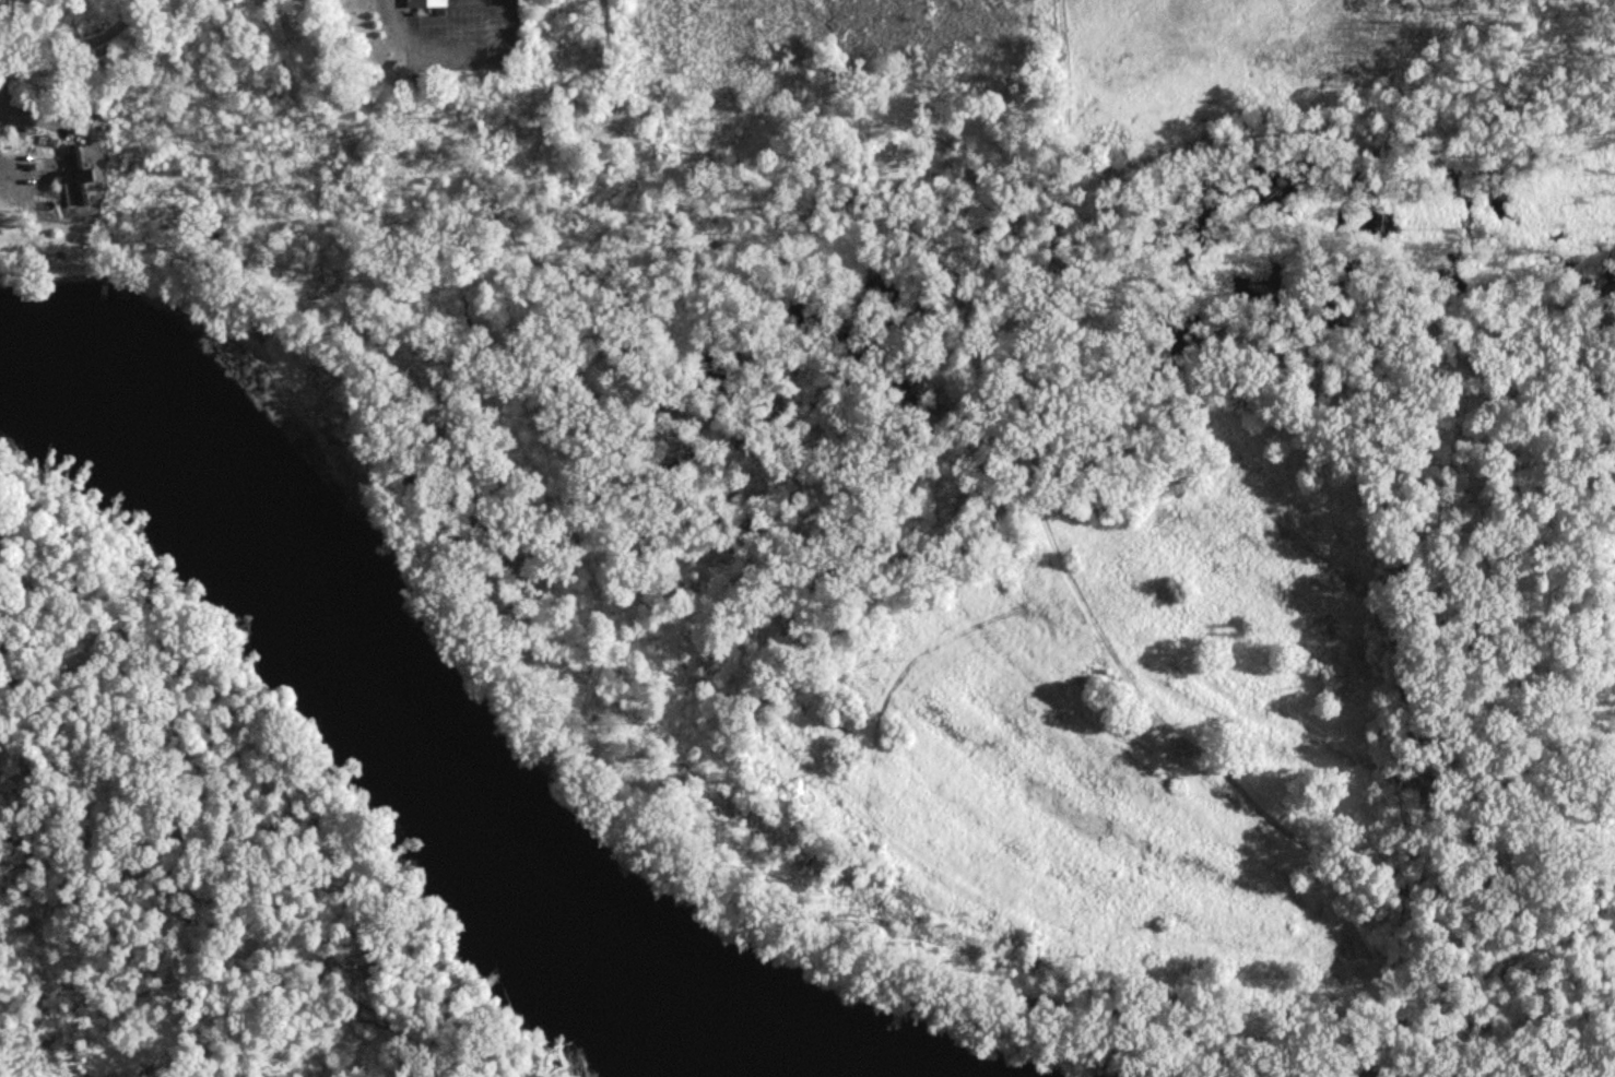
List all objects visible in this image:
building: (424, 3)
road: (455, 48)
road: (611, 50)
road: (86, 56)
river: (400, 739)

